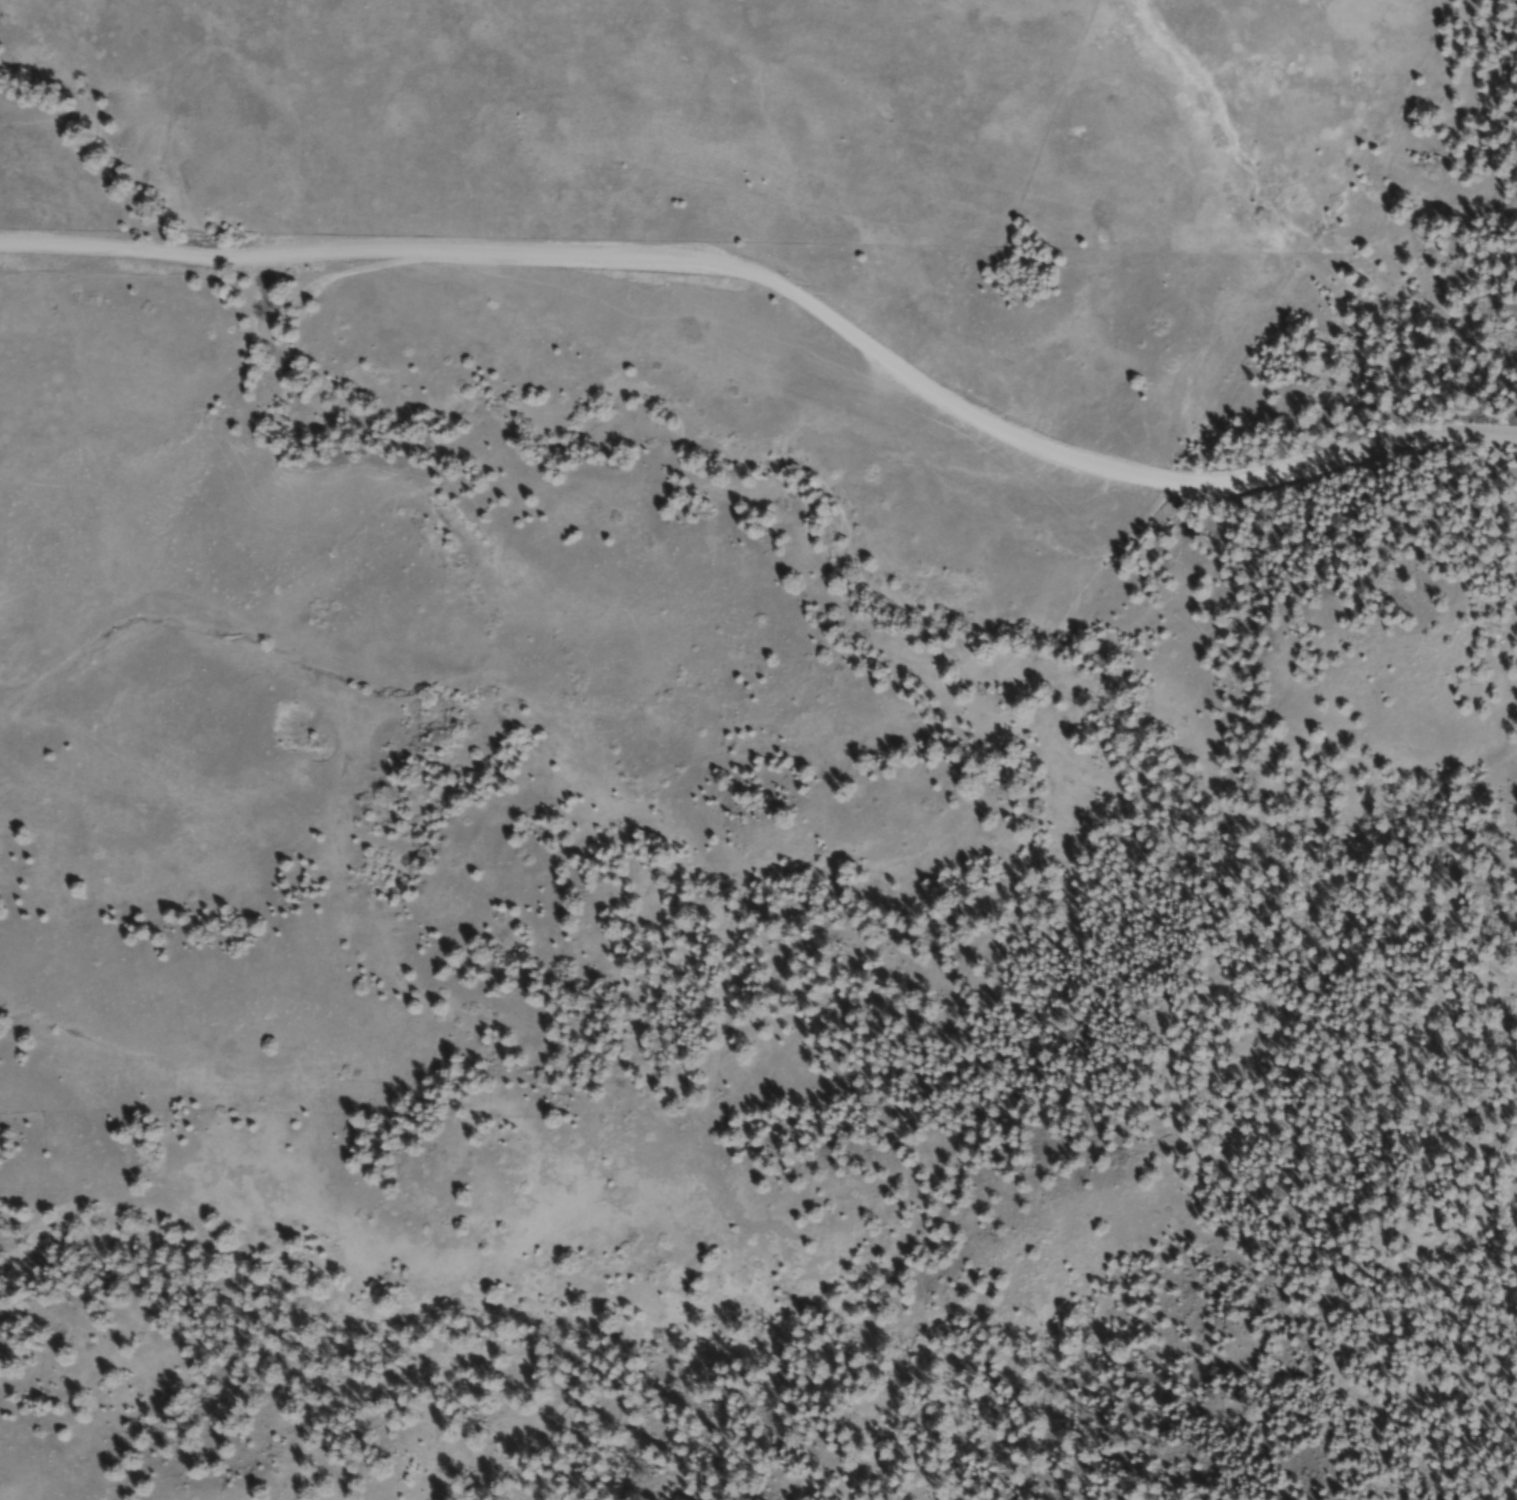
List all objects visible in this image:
road: (781, 289)

